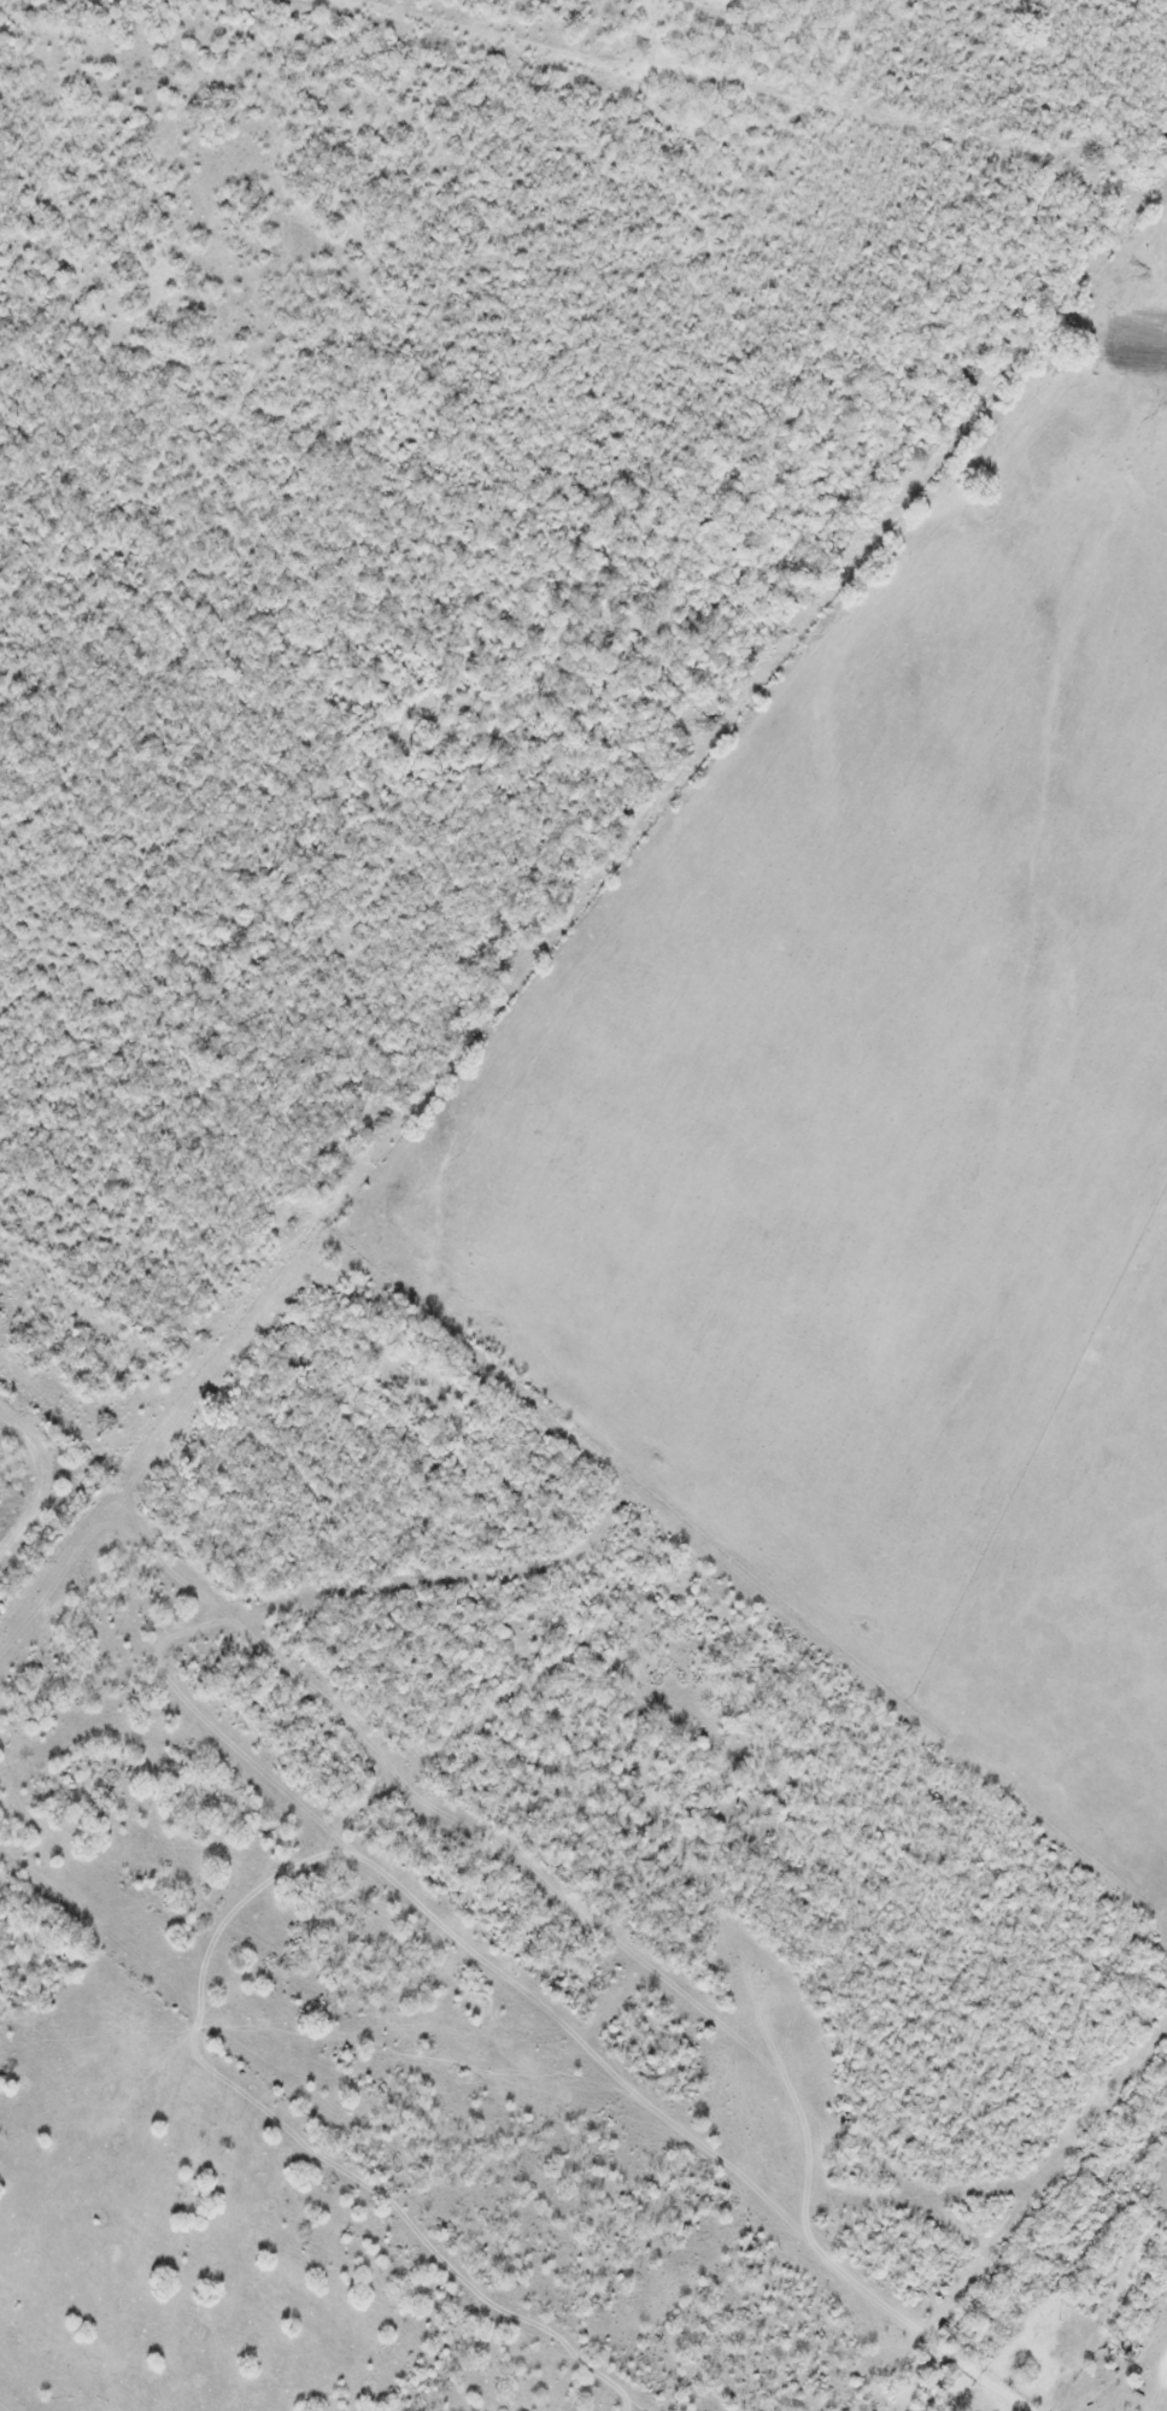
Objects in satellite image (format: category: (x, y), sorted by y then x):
building: (979, 2333)
road: (997, 2393)

